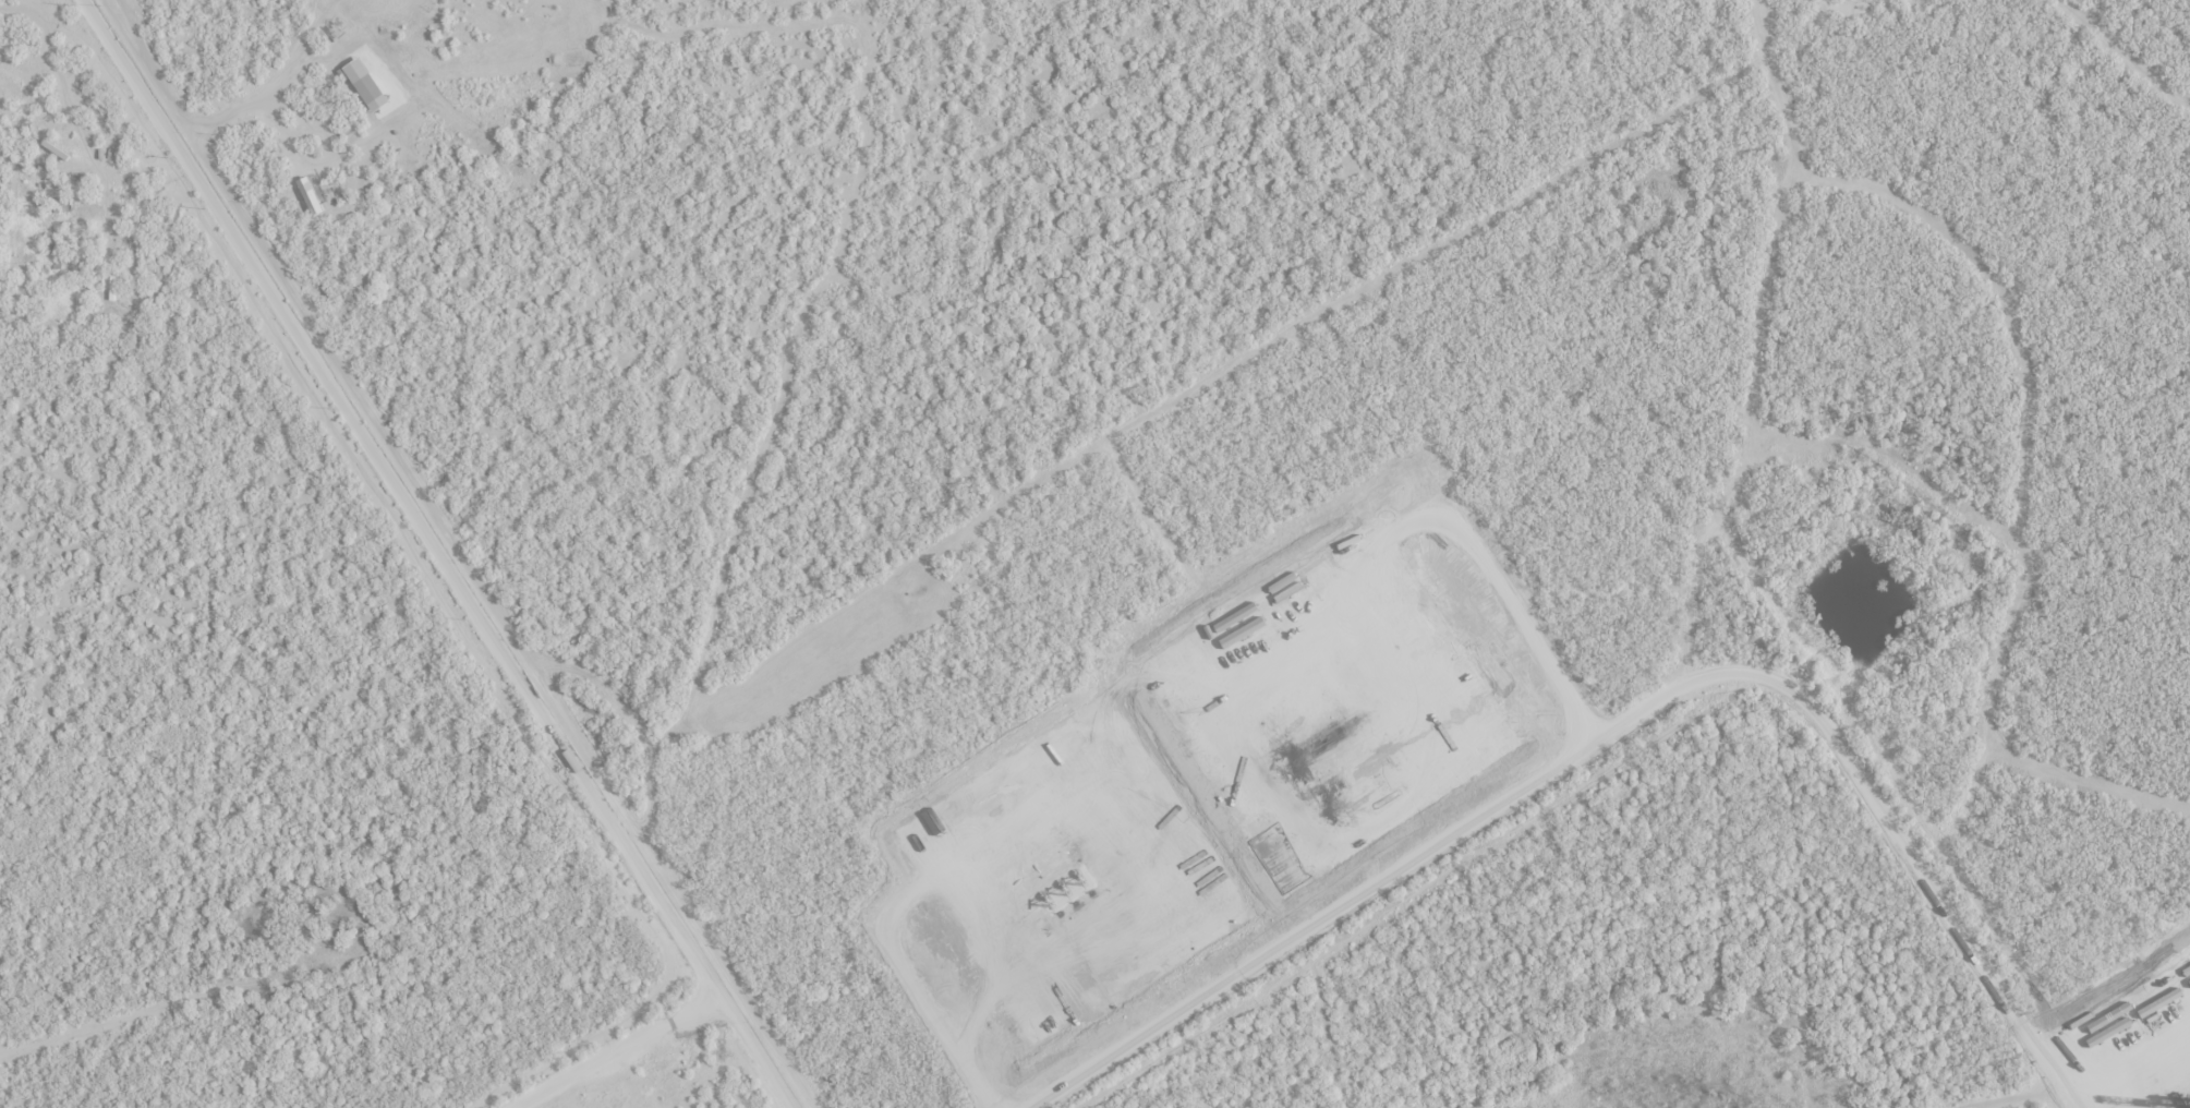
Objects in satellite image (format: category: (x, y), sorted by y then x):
building: (367, 88)
building: (312, 195)
road: (438, 553)
road: (616, 1049)

